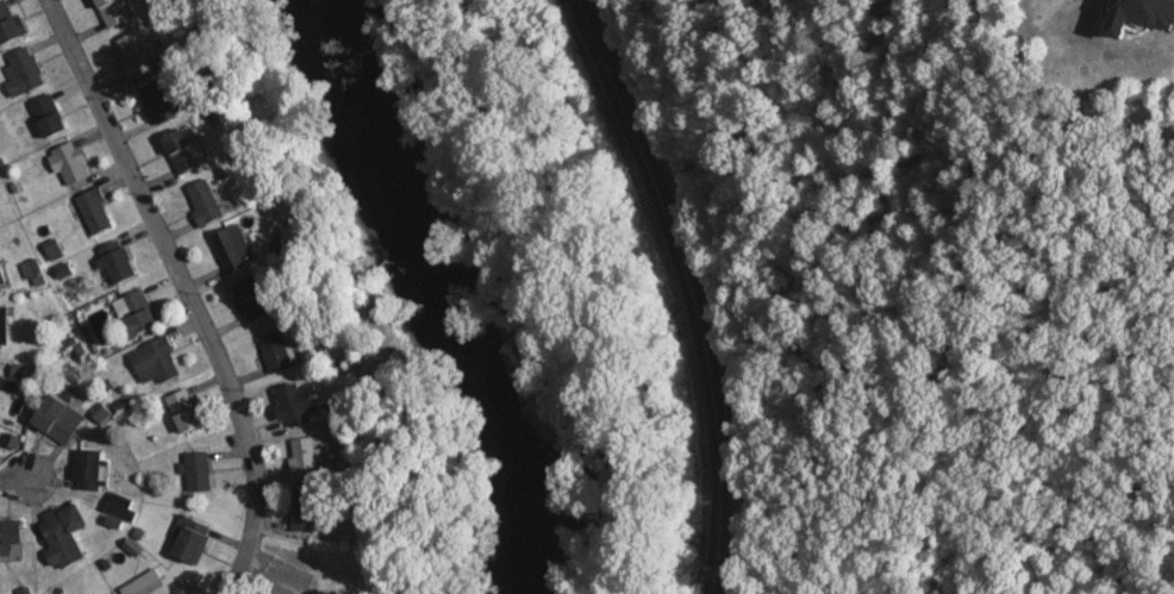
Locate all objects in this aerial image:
building: (113, 11)
building: (1142, 15)
building: (10, 23)
building: (133, 54)
building: (23, 71)
building: (158, 102)
building: (49, 115)
building: (182, 150)
building: (71, 162)
building: (205, 201)
building: (95, 210)
building: (233, 248)
building: (117, 262)
building: (1, 276)
railway: (683, 287)
railway: (694, 287)
road: (600, 289)
road: (183, 290)
river: (451, 292)
building: (252, 298)
building: (142, 311)
building: (2, 324)
building: (276, 351)
building: (156, 362)
building: (296, 405)
building: (186, 411)
building: (58, 419)
building: (304, 461)
building: (88, 468)
building: (199, 471)
road: (12, 477)
building: (305, 512)
building: (64, 534)
building: (11, 536)
building: (191, 540)
park: (736, 557)
building: (148, 583)

